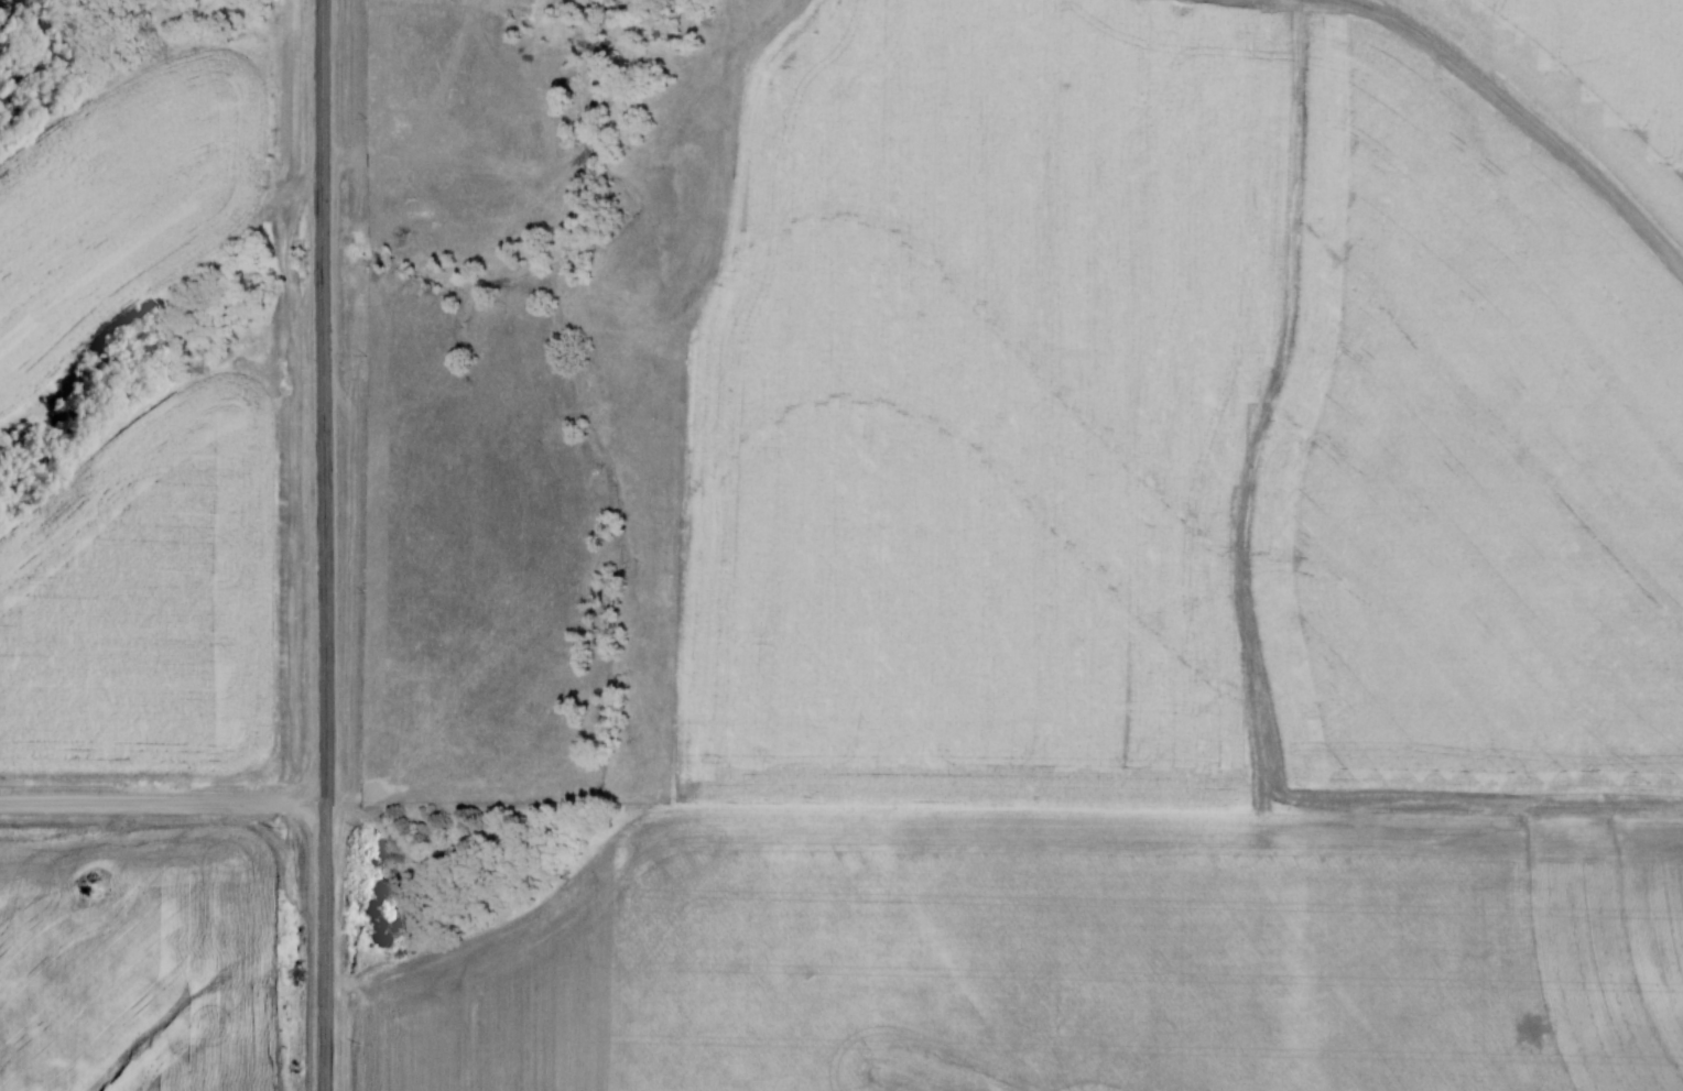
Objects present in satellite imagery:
road: (323, 545)
road: (161, 799)

